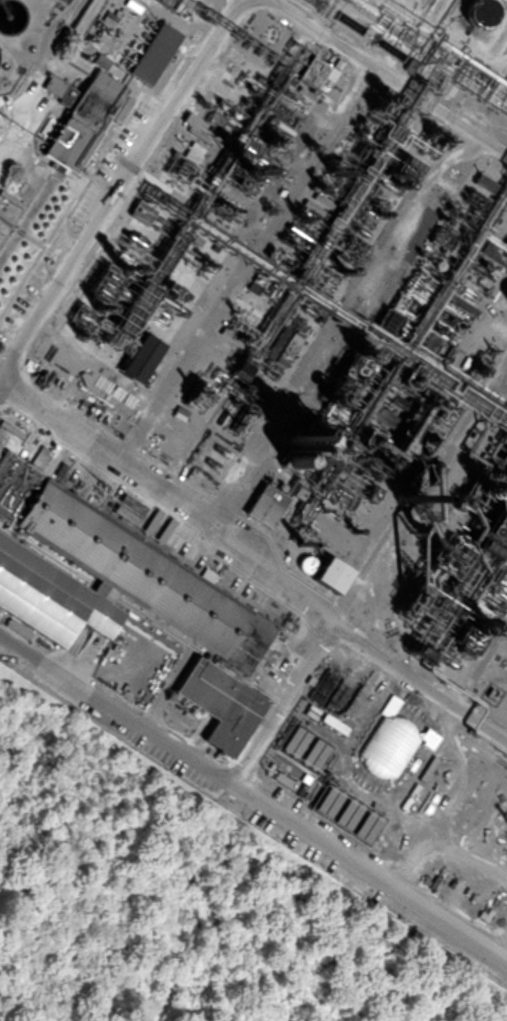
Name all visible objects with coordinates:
road: (387, 75)
building: (79, 122)
road: (121, 184)
road: (253, 558)

